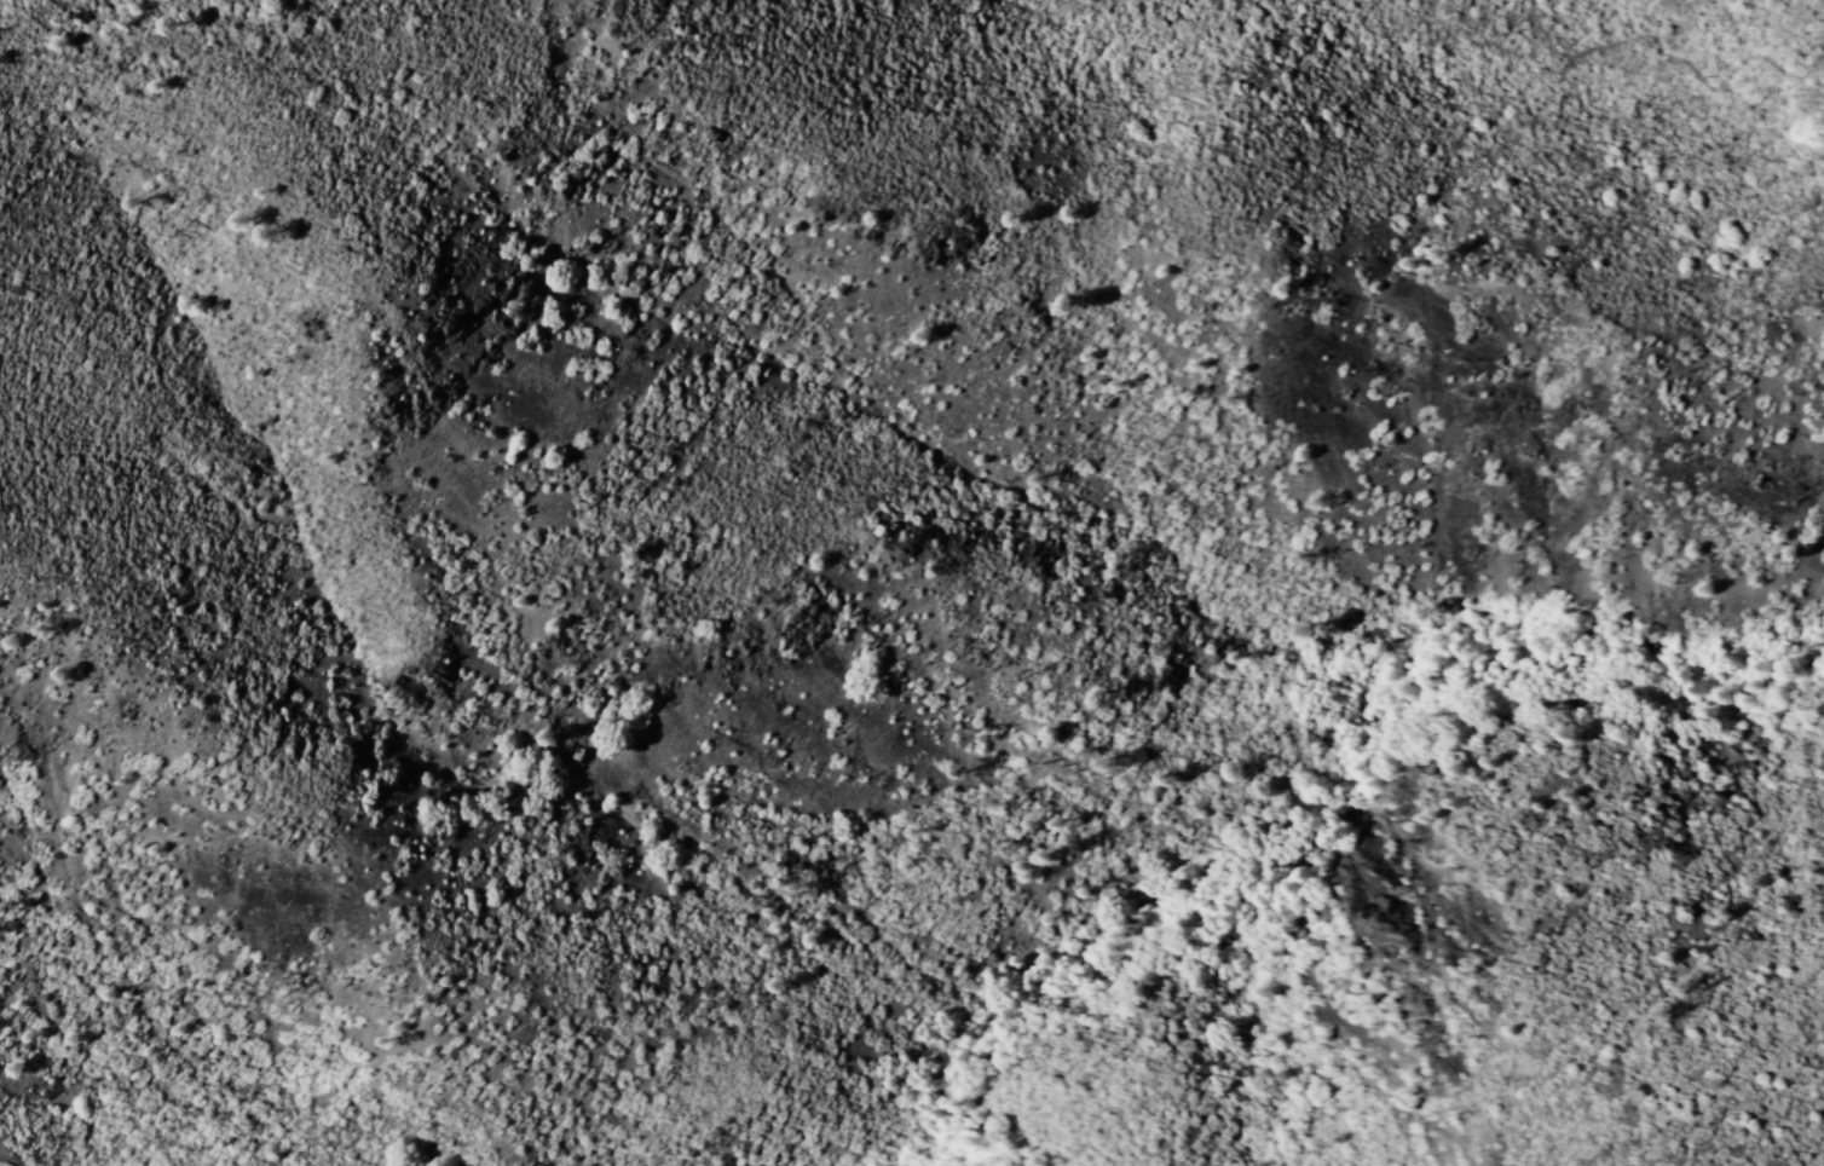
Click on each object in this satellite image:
road: (653, 28)

